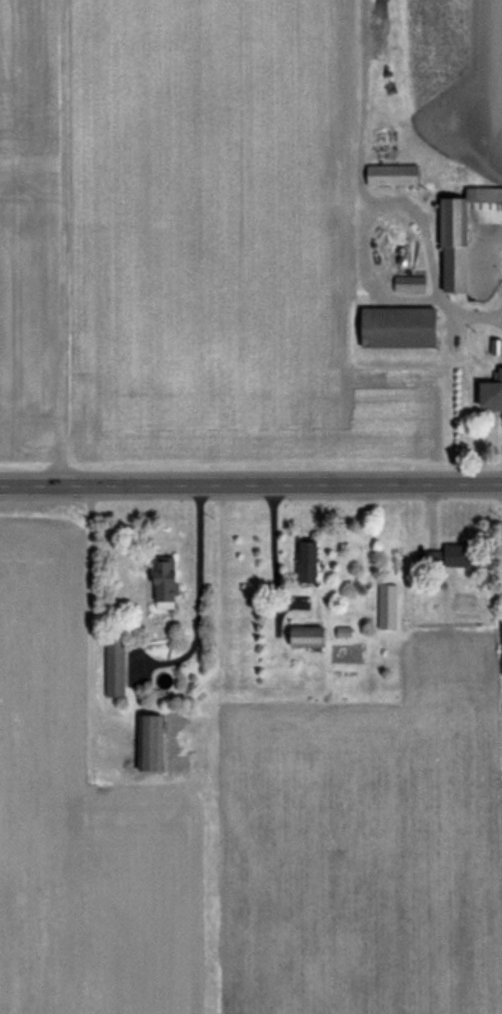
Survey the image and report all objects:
building: (387, 12)
building: (397, 175)
building: (469, 233)
building: (413, 285)
building: (407, 328)
building: (492, 397)
road: (250, 484)
road: (267, 549)
building: (459, 556)
building: (173, 585)
building: (391, 607)
building: (317, 636)
building: (118, 667)
building: (157, 743)

